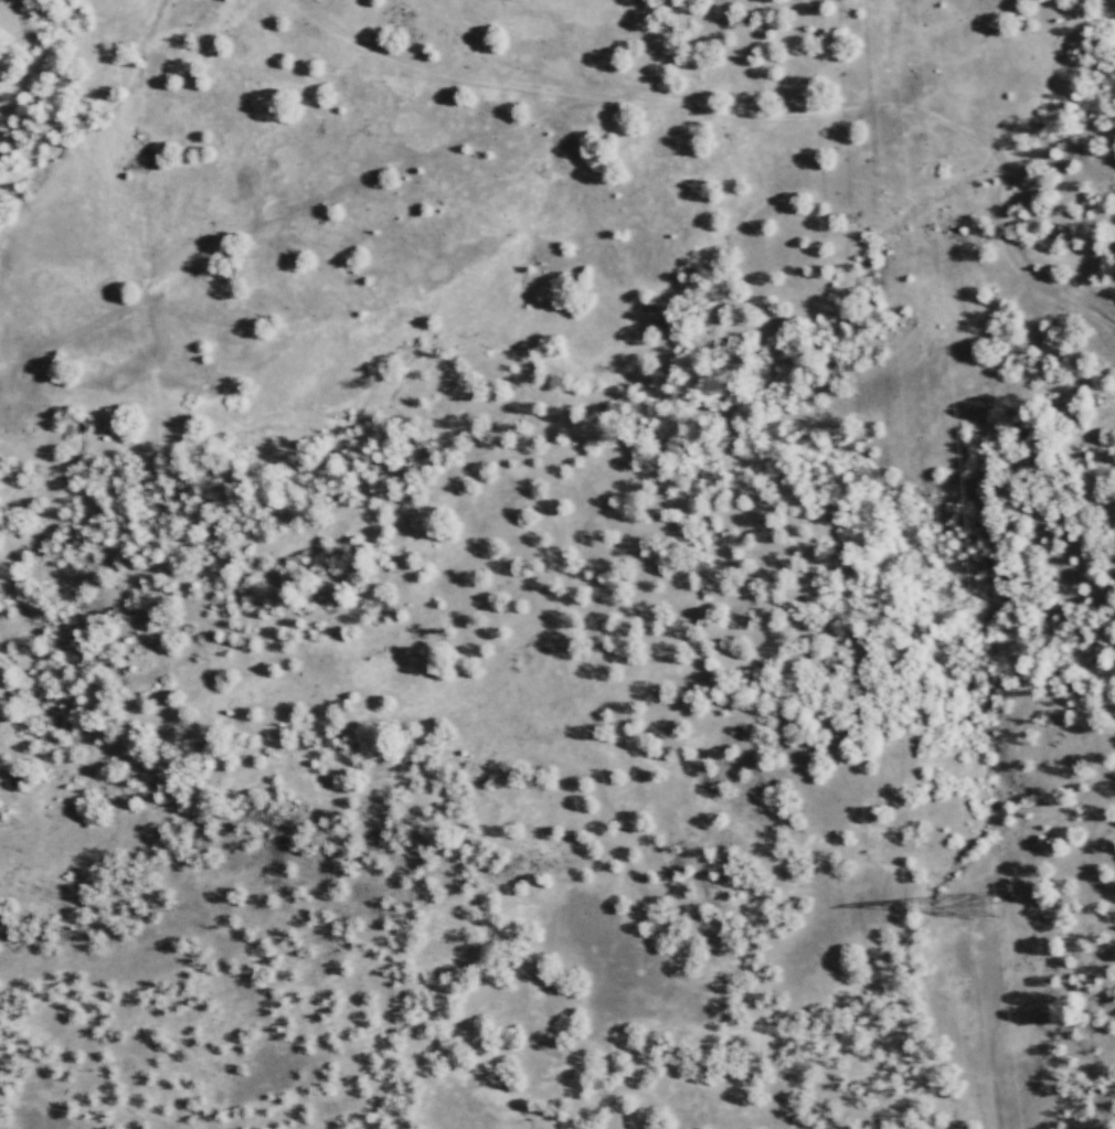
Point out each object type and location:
road: (756, 123)
power tower: (981, 925)

